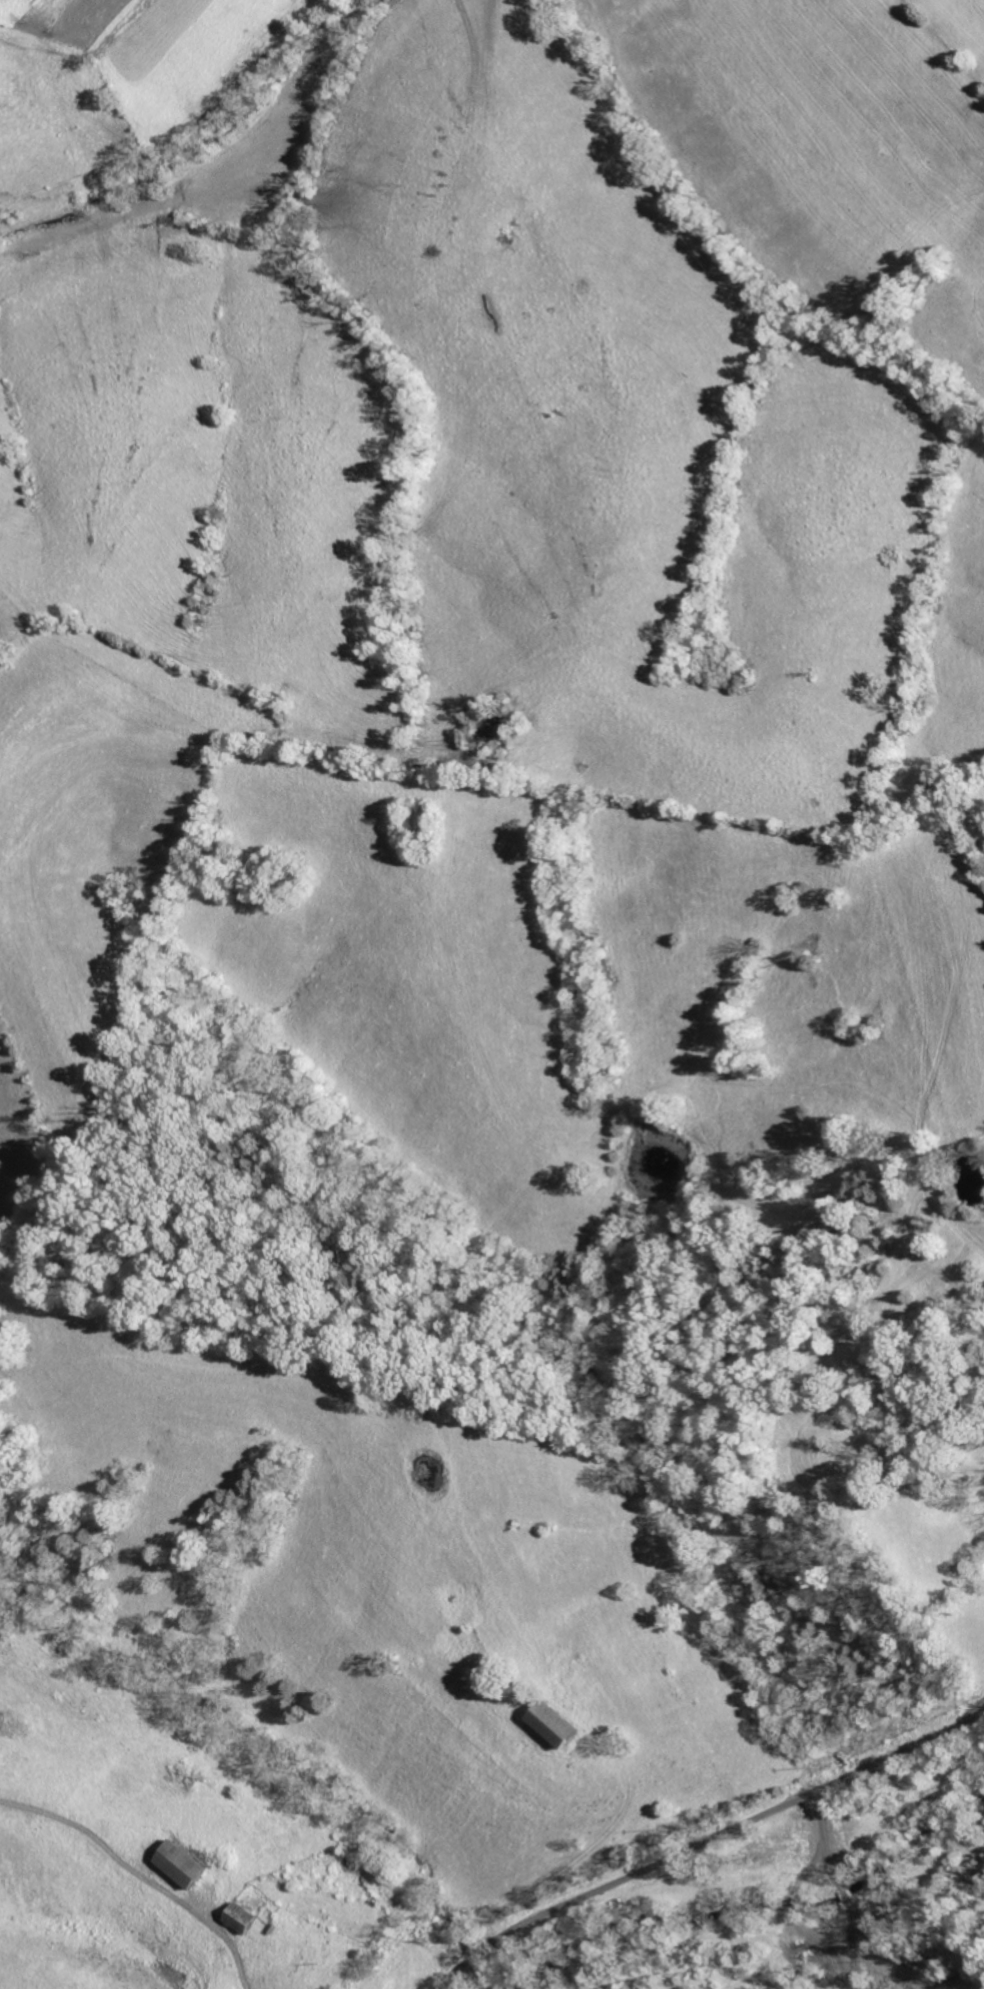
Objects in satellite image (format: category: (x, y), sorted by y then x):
building: (562, 1726)
road: (705, 1840)
building: (192, 1866)
road: (140, 1874)

